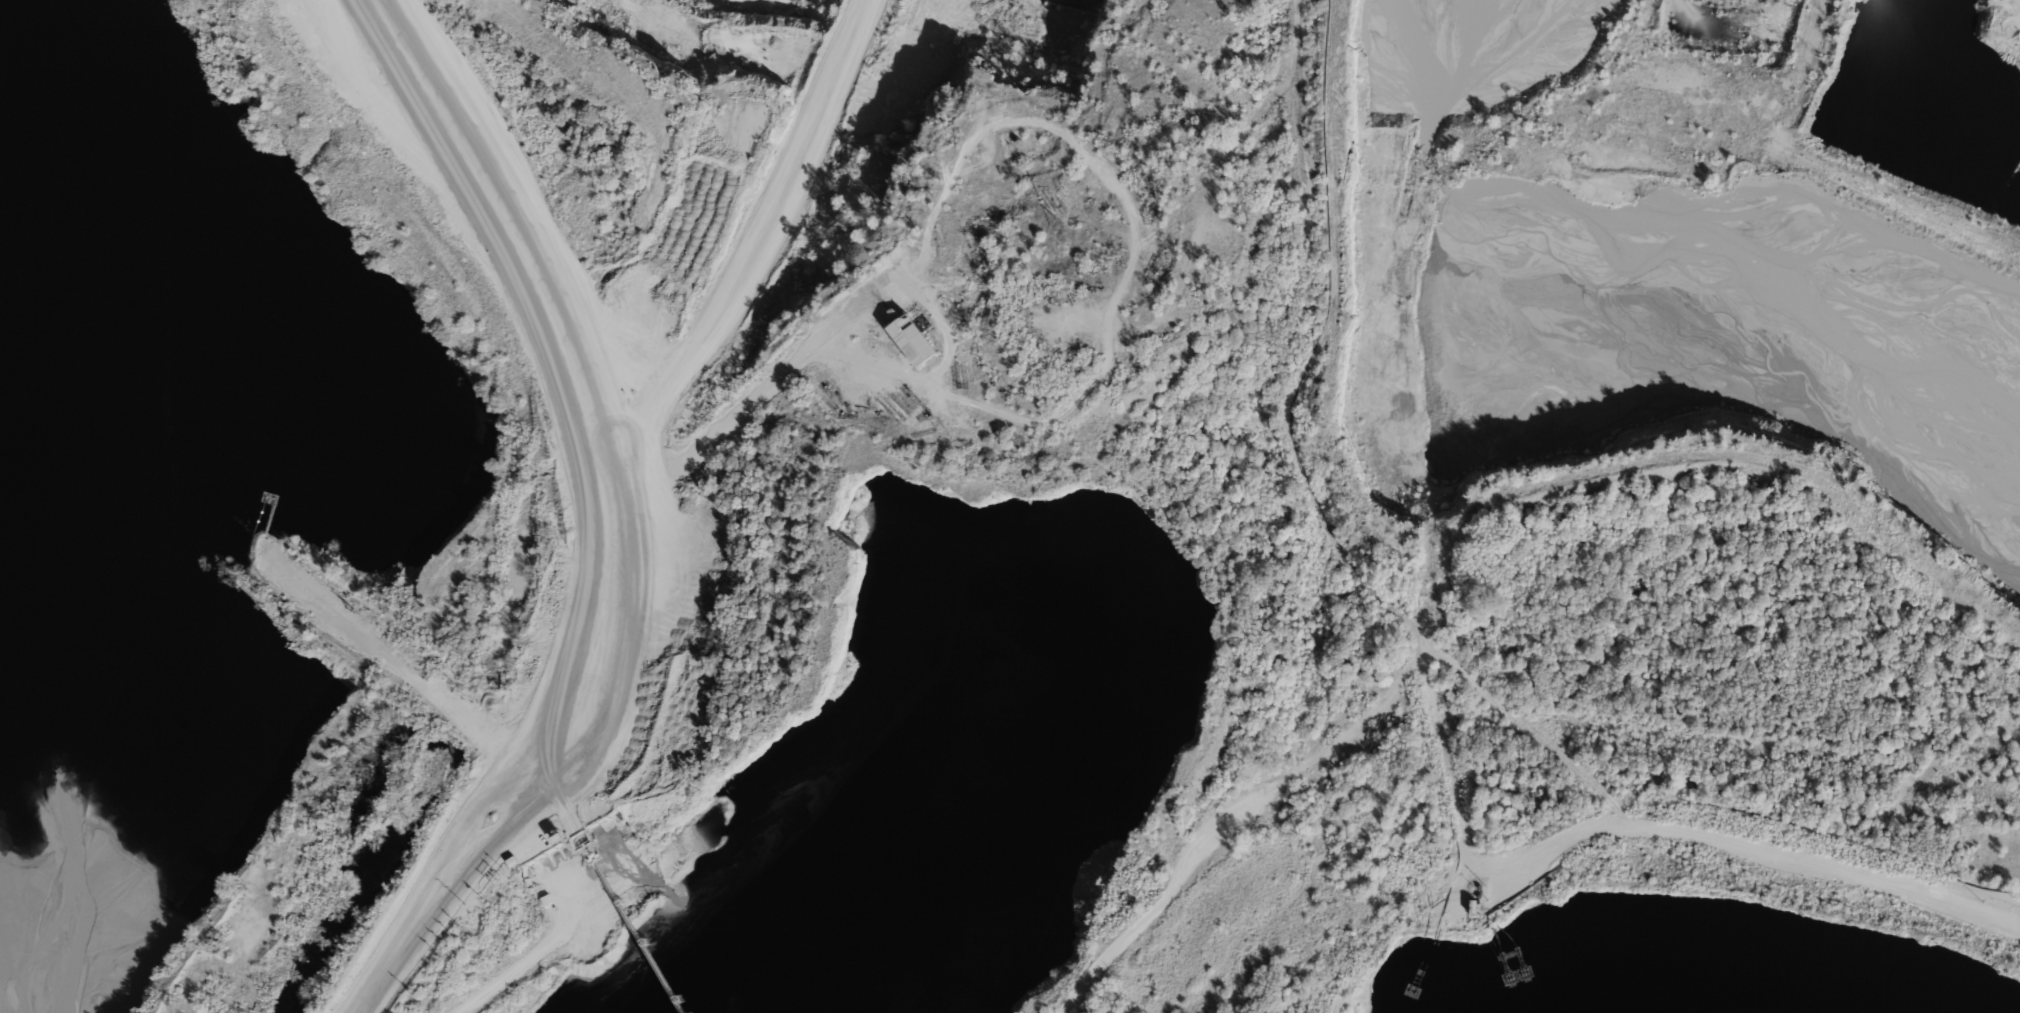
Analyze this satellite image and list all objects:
quarry: (926, 190)
quarry: (1686, 247)
building: (919, 340)
road: (618, 533)

